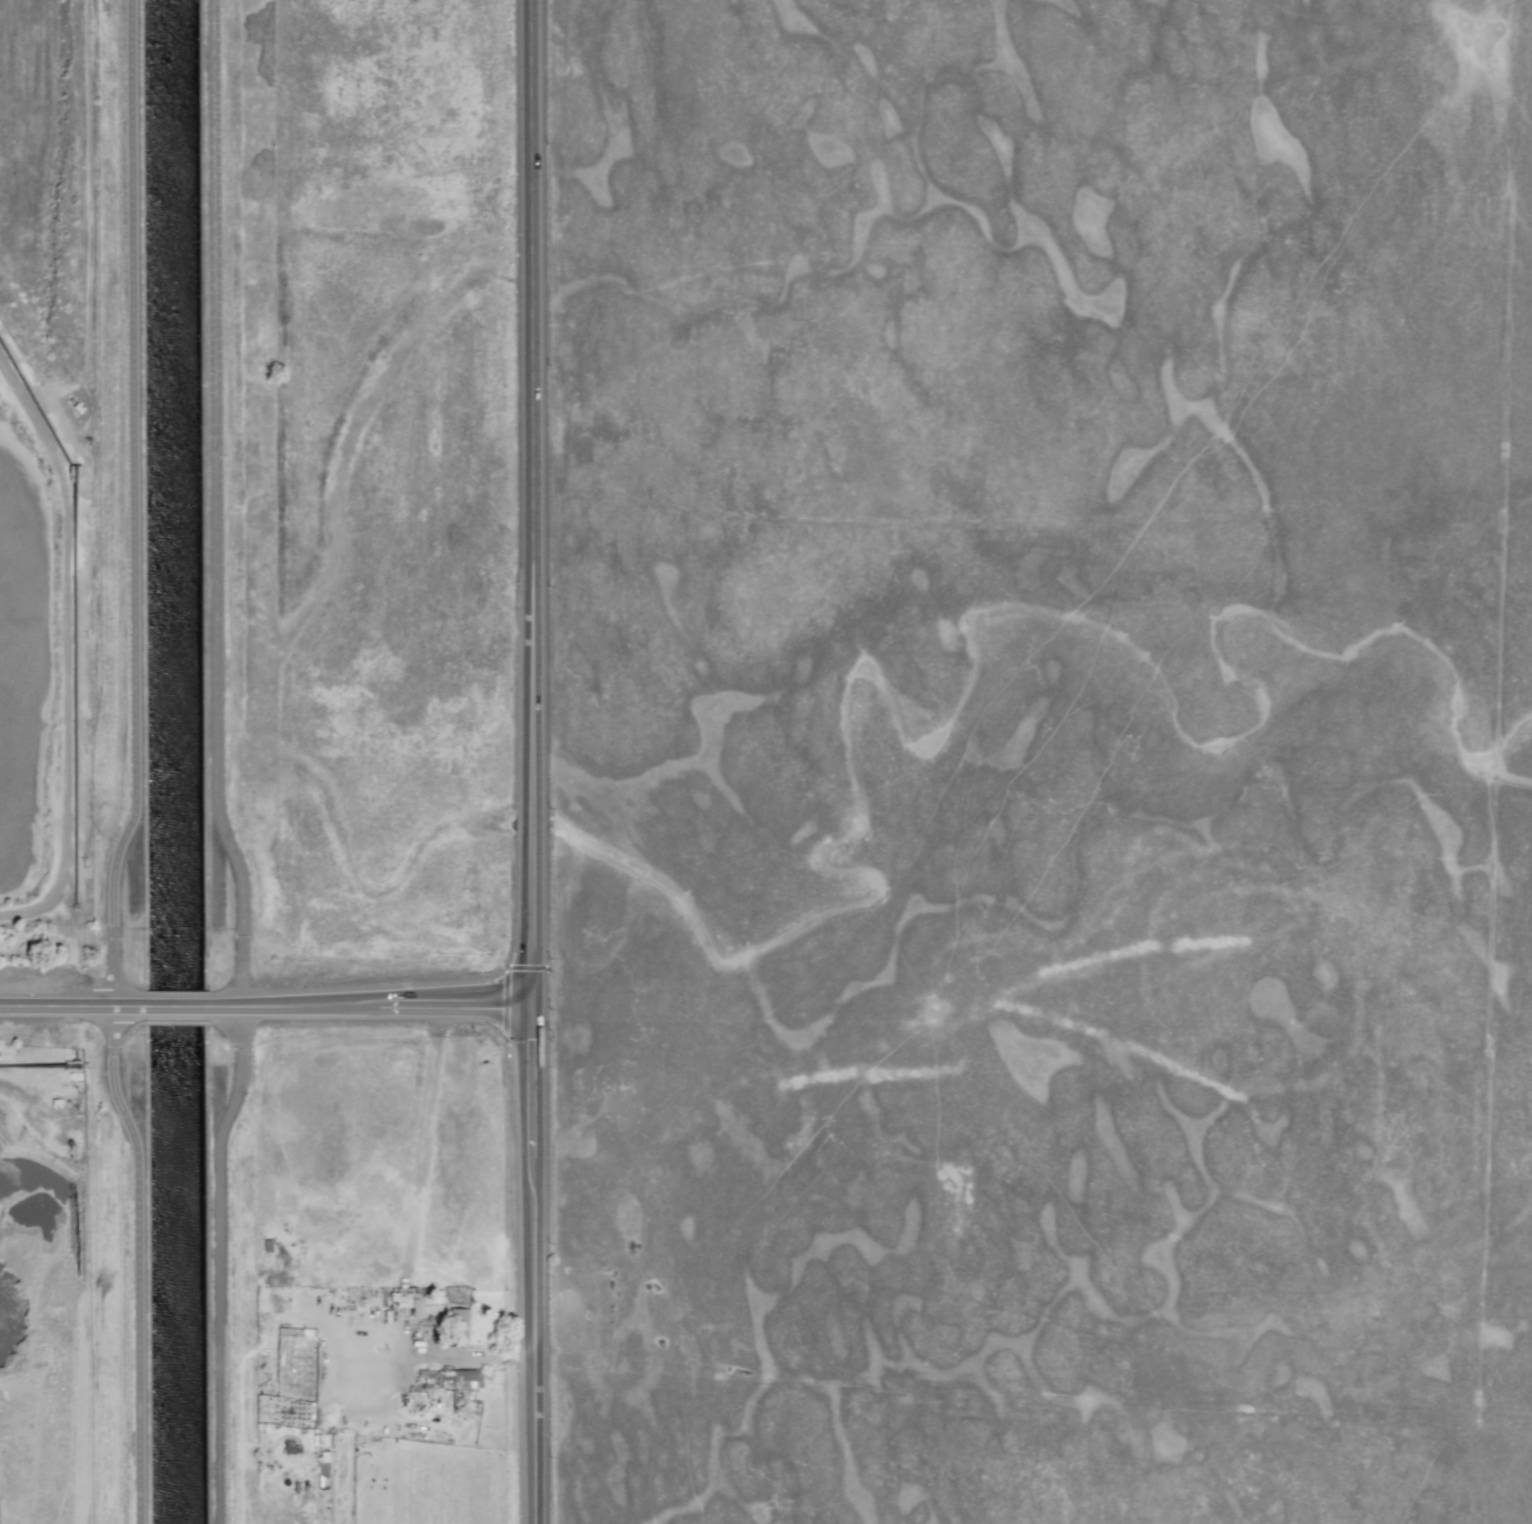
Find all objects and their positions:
road: (538, 502)
road: (138, 766)
road: (218, 766)
road: (76, 1003)
road: (181, 1004)
road: (375, 1005)
crop: (369, 1253)
road: (542, 1264)
building: (402, 1297)
road: (444, 1357)

